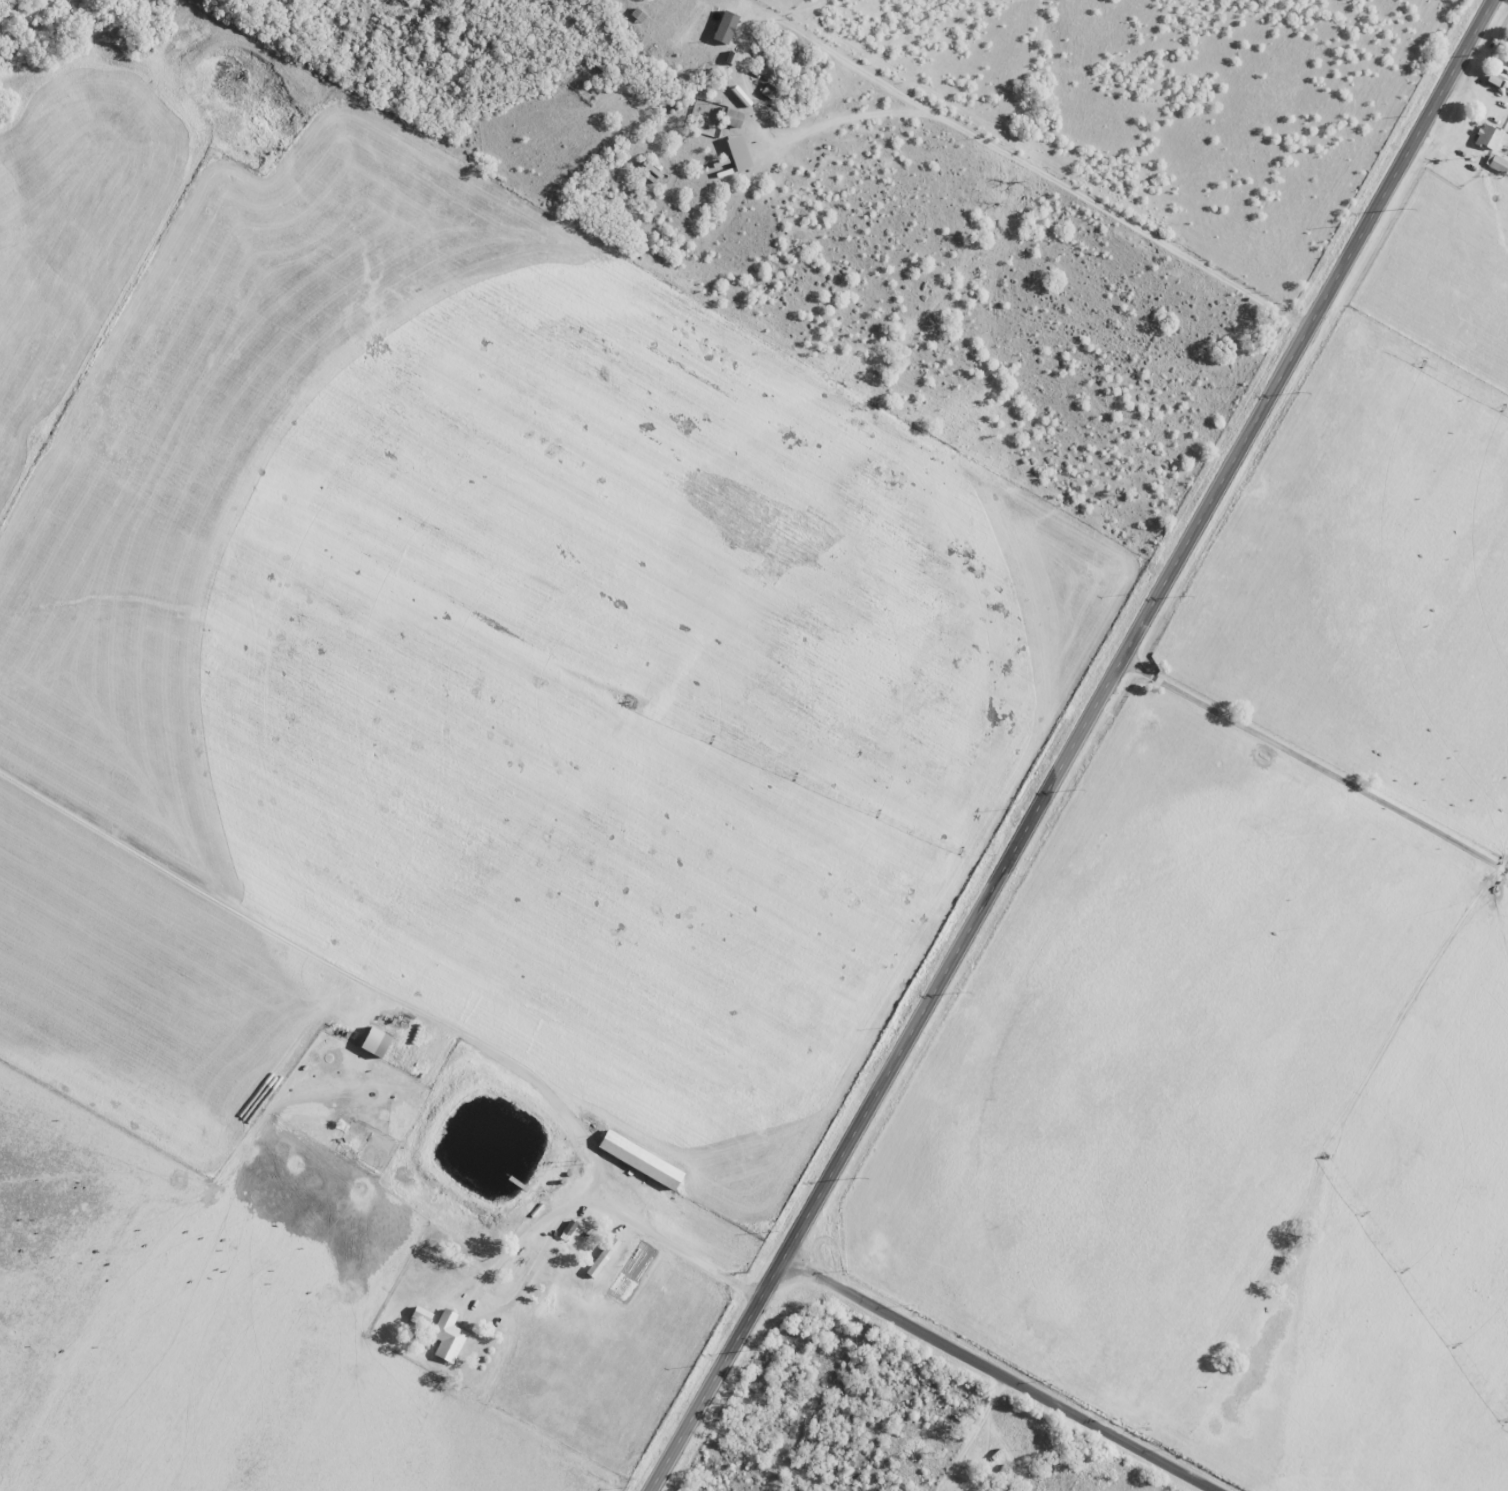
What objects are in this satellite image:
building: (727, 28)
power tower: (1492, 55)
building: (1506, 57)
road: (905, 97)
building: (732, 119)
building: (1486, 138)
building: (740, 154)
building: (1495, 163)
road: (559, 170)
power tower: (1405, 210)
road: (807, 389)
power tower: (1302, 392)
power tower: (1188, 595)
road: (1072, 746)
road: (1314, 766)
power tower: (1079, 789)
power tower: (968, 989)
building: (378, 1043)
building: (642, 1160)
power tower: (859, 1179)
road: (533, 1225)
building: (603, 1257)
building: (422, 1317)
building: (449, 1336)
power tower: (761, 1349)
road: (994, 1375)

